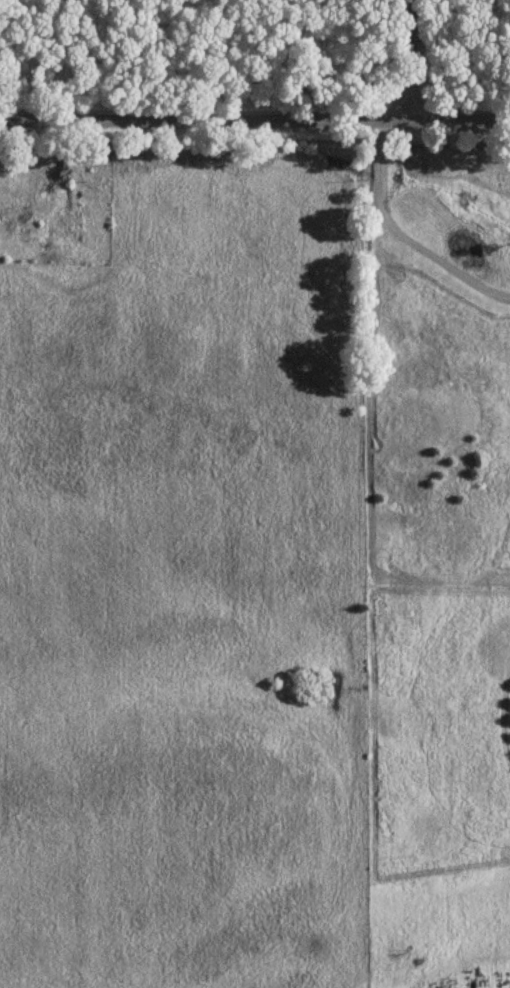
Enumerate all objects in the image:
road: (255, 118)

